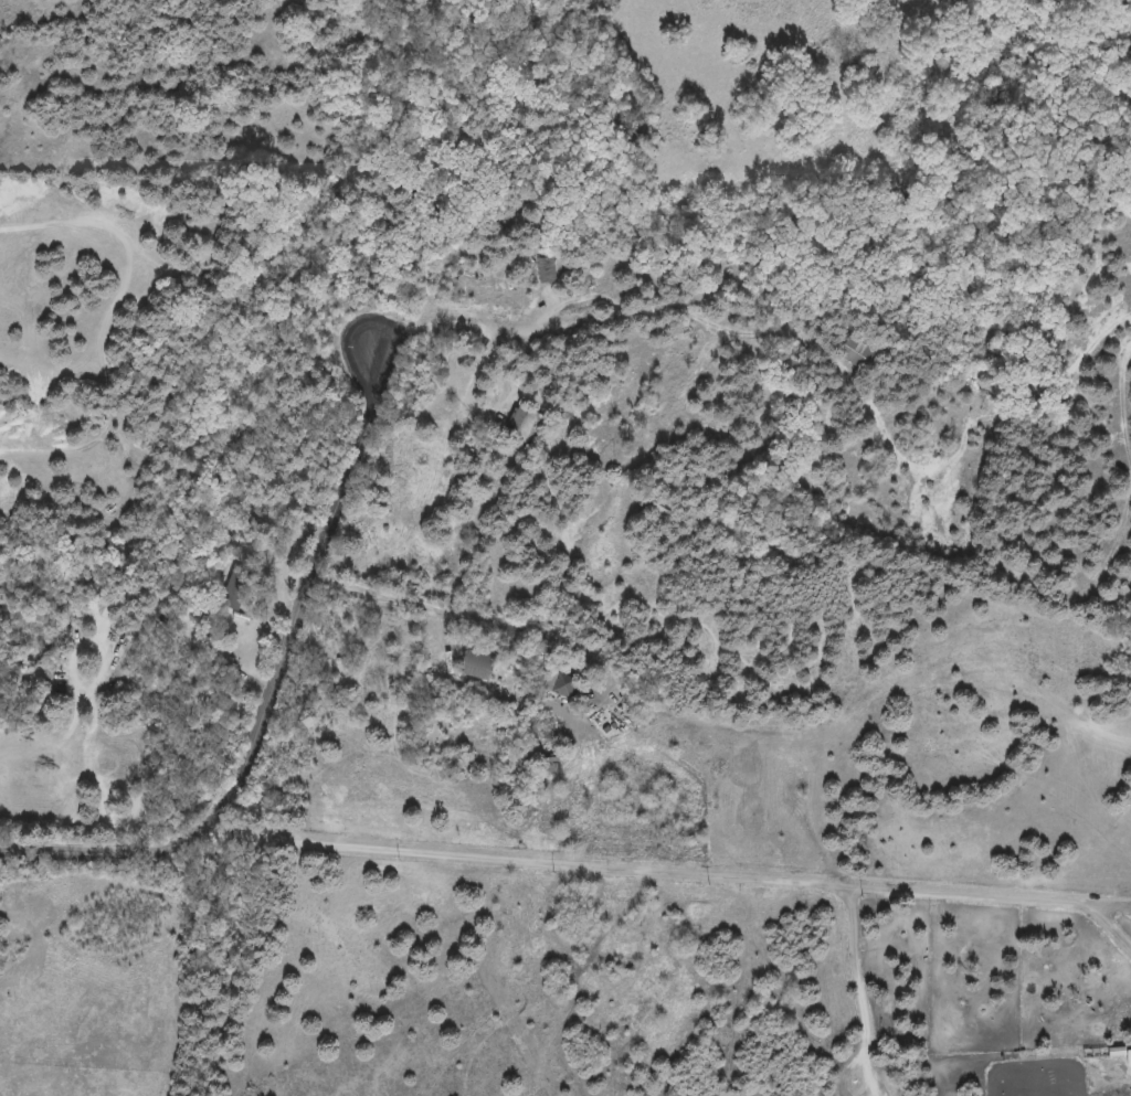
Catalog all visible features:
building: (546, 269)
road: (507, 328)
building: (856, 354)
road: (505, 373)
road: (938, 407)
building: (521, 425)
building: (232, 599)
road: (476, 607)
building: (229, 666)
building: (475, 666)
building: (559, 687)
road: (631, 873)
road: (1104, 925)
road: (857, 988)

